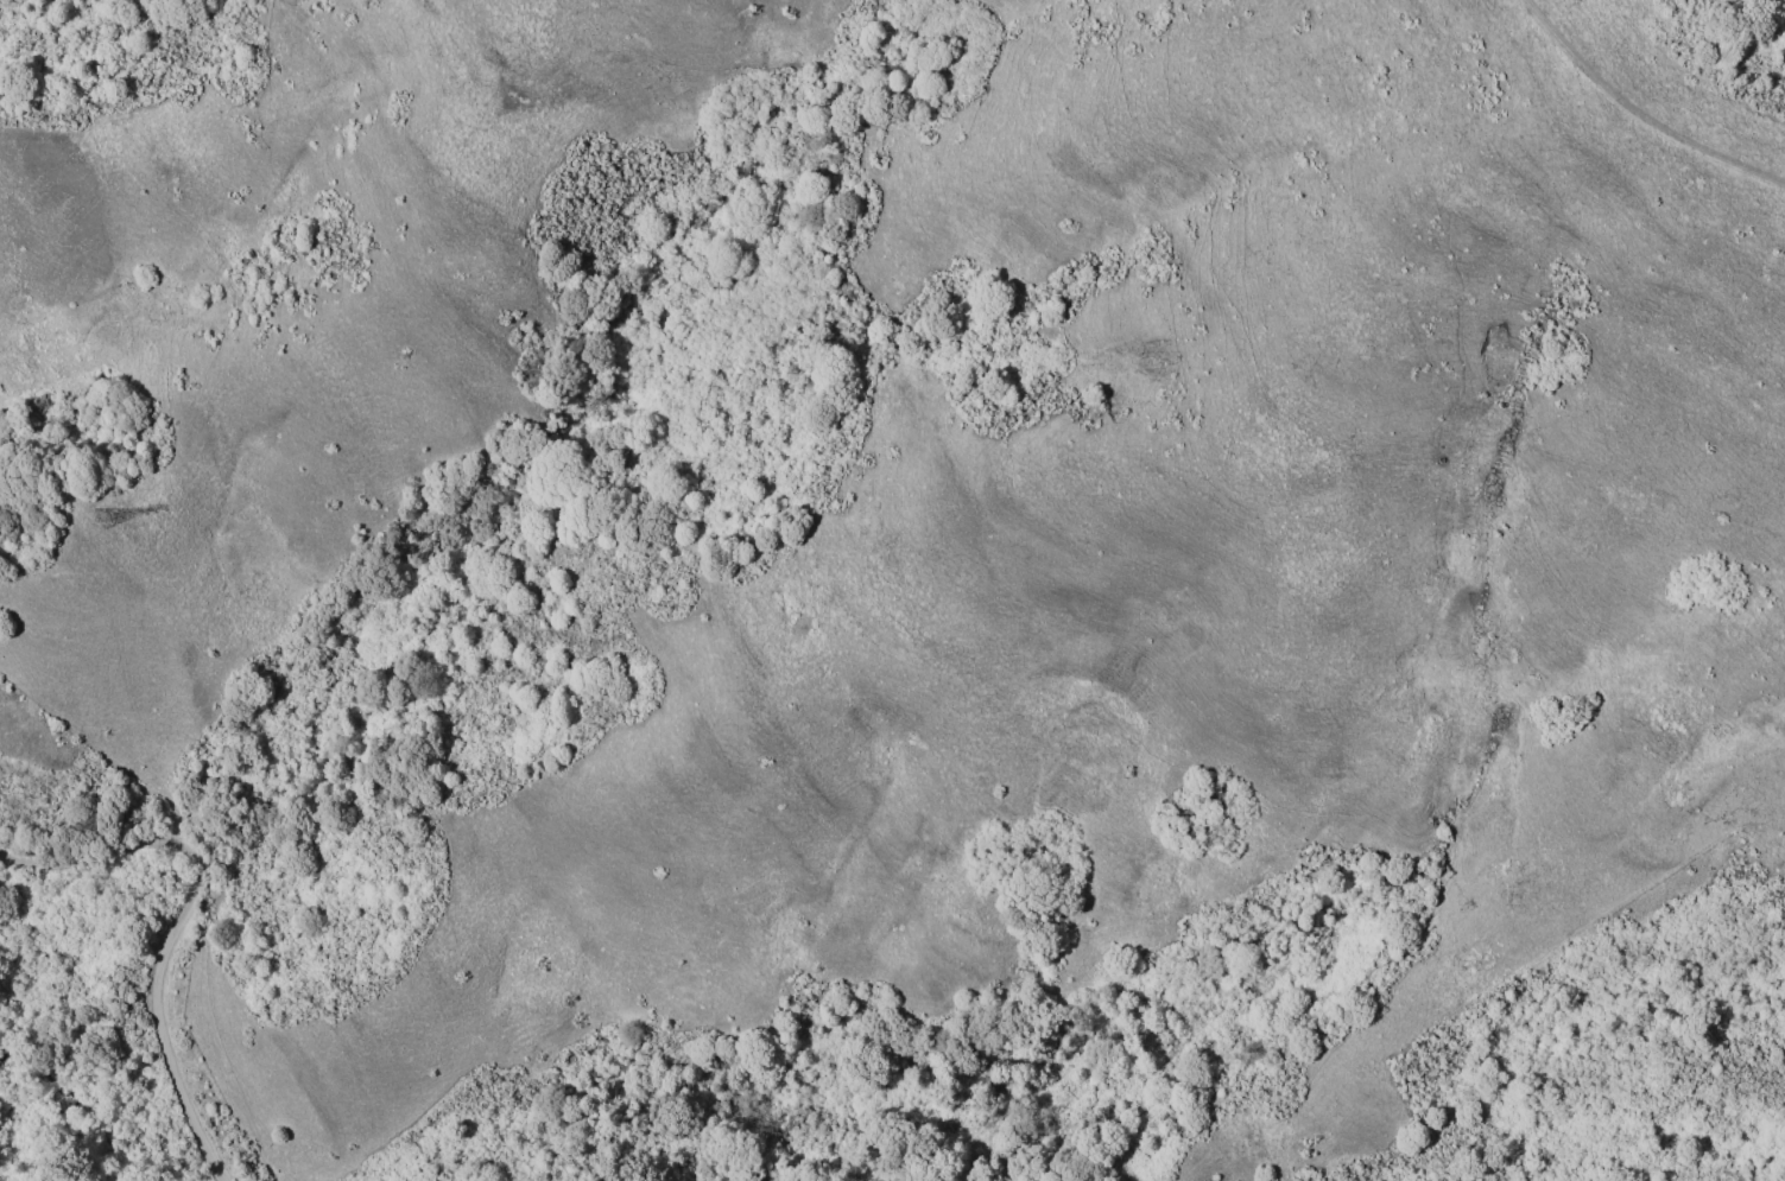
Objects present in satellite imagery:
road: (1639, 112)
power tower: (99, 519)
road: (170, 927)

